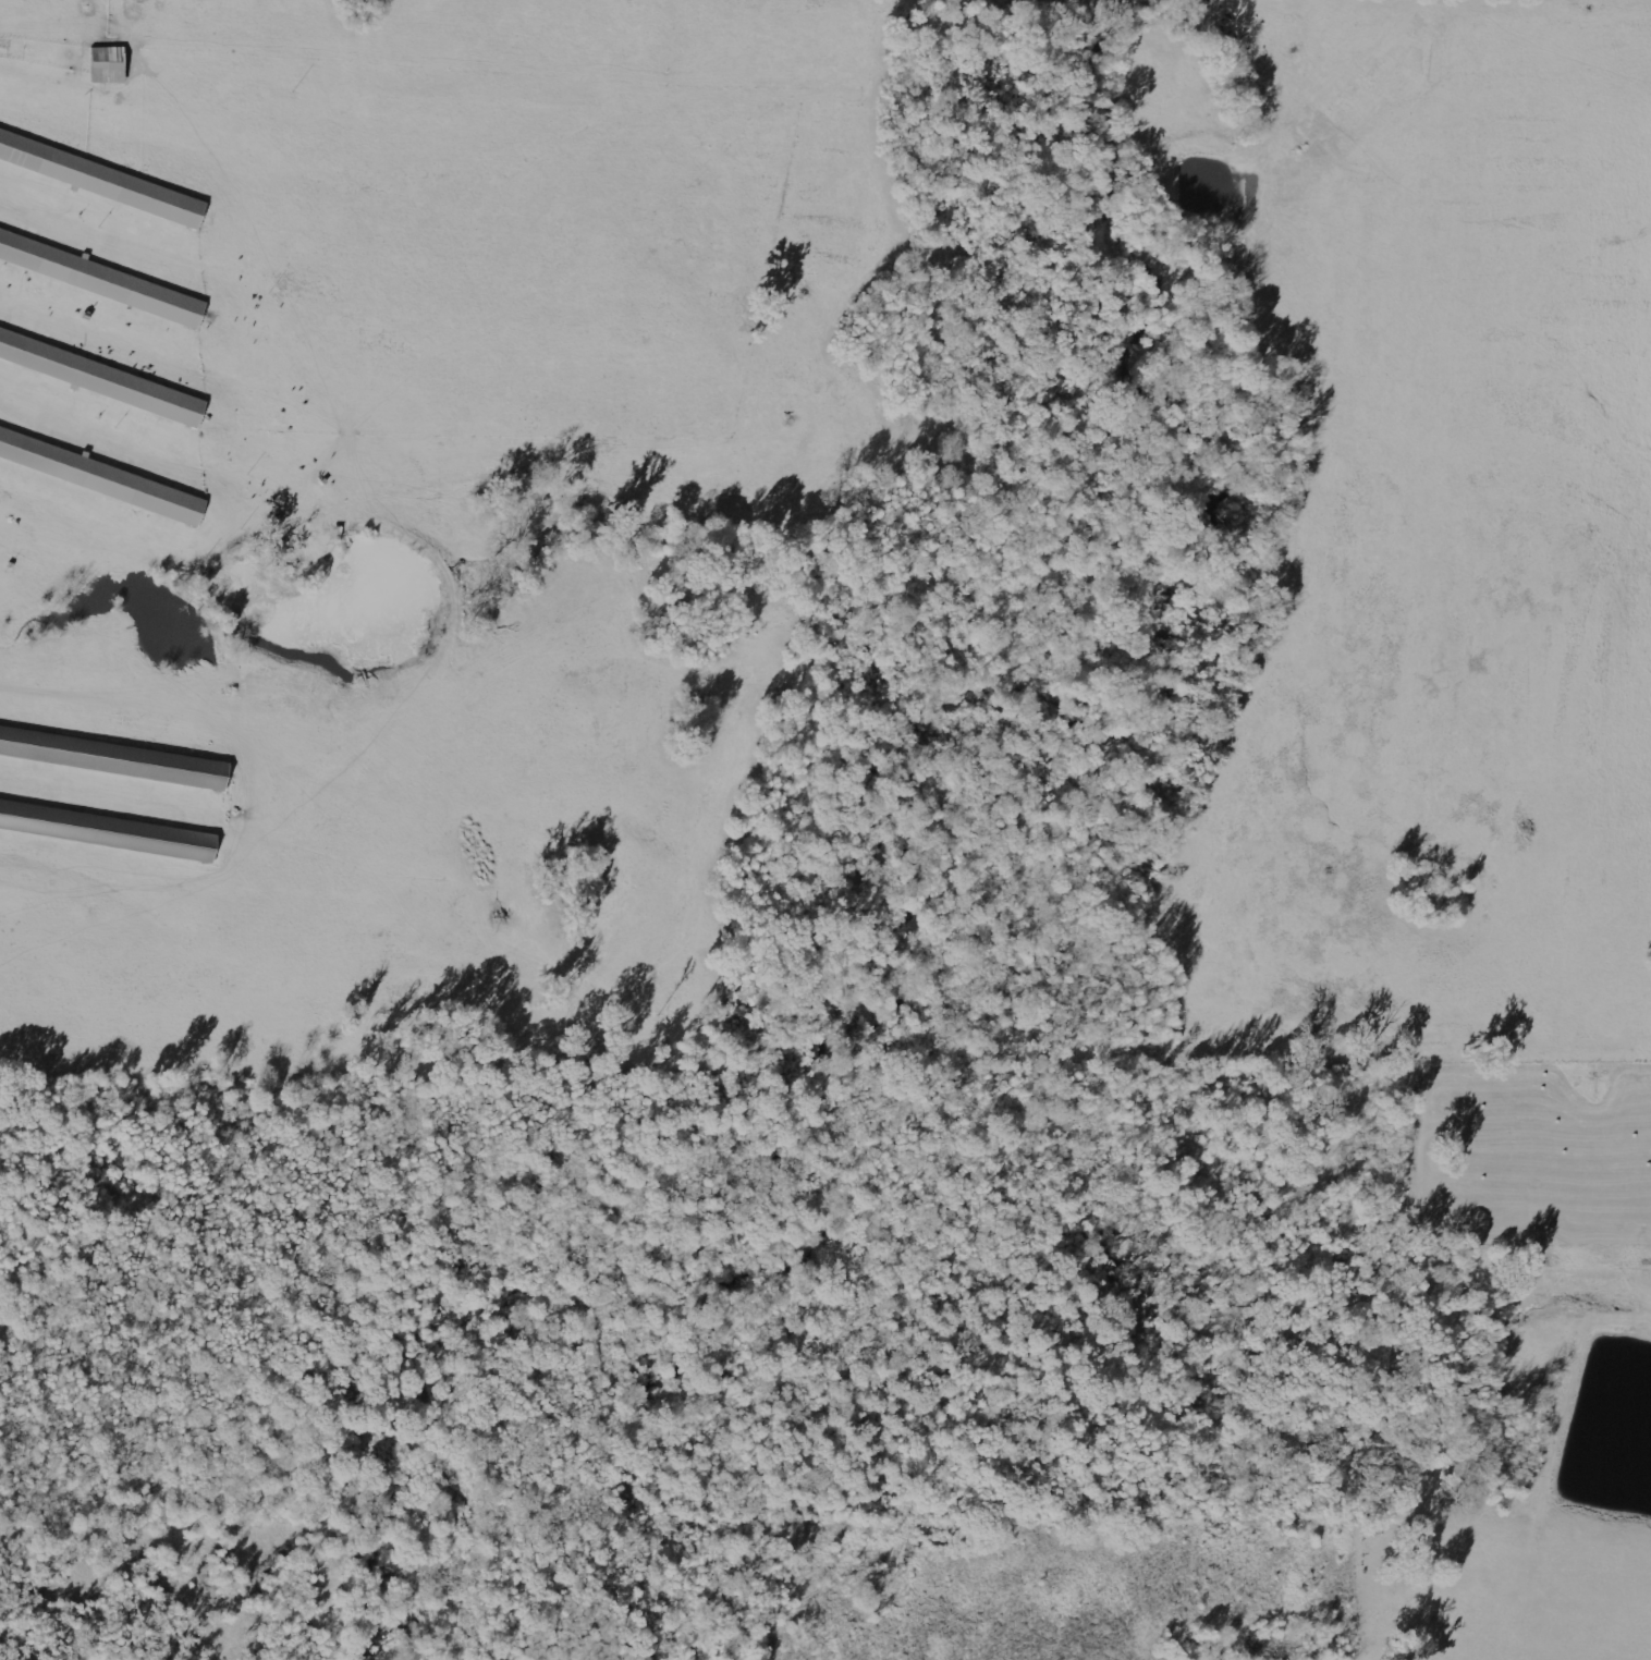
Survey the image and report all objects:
building: (106, 64)
building: (100, 179)
building: (96, 278)
building: (99, 378)
building: (112, 756)
building: (5, 805)
building: (152, 839)

